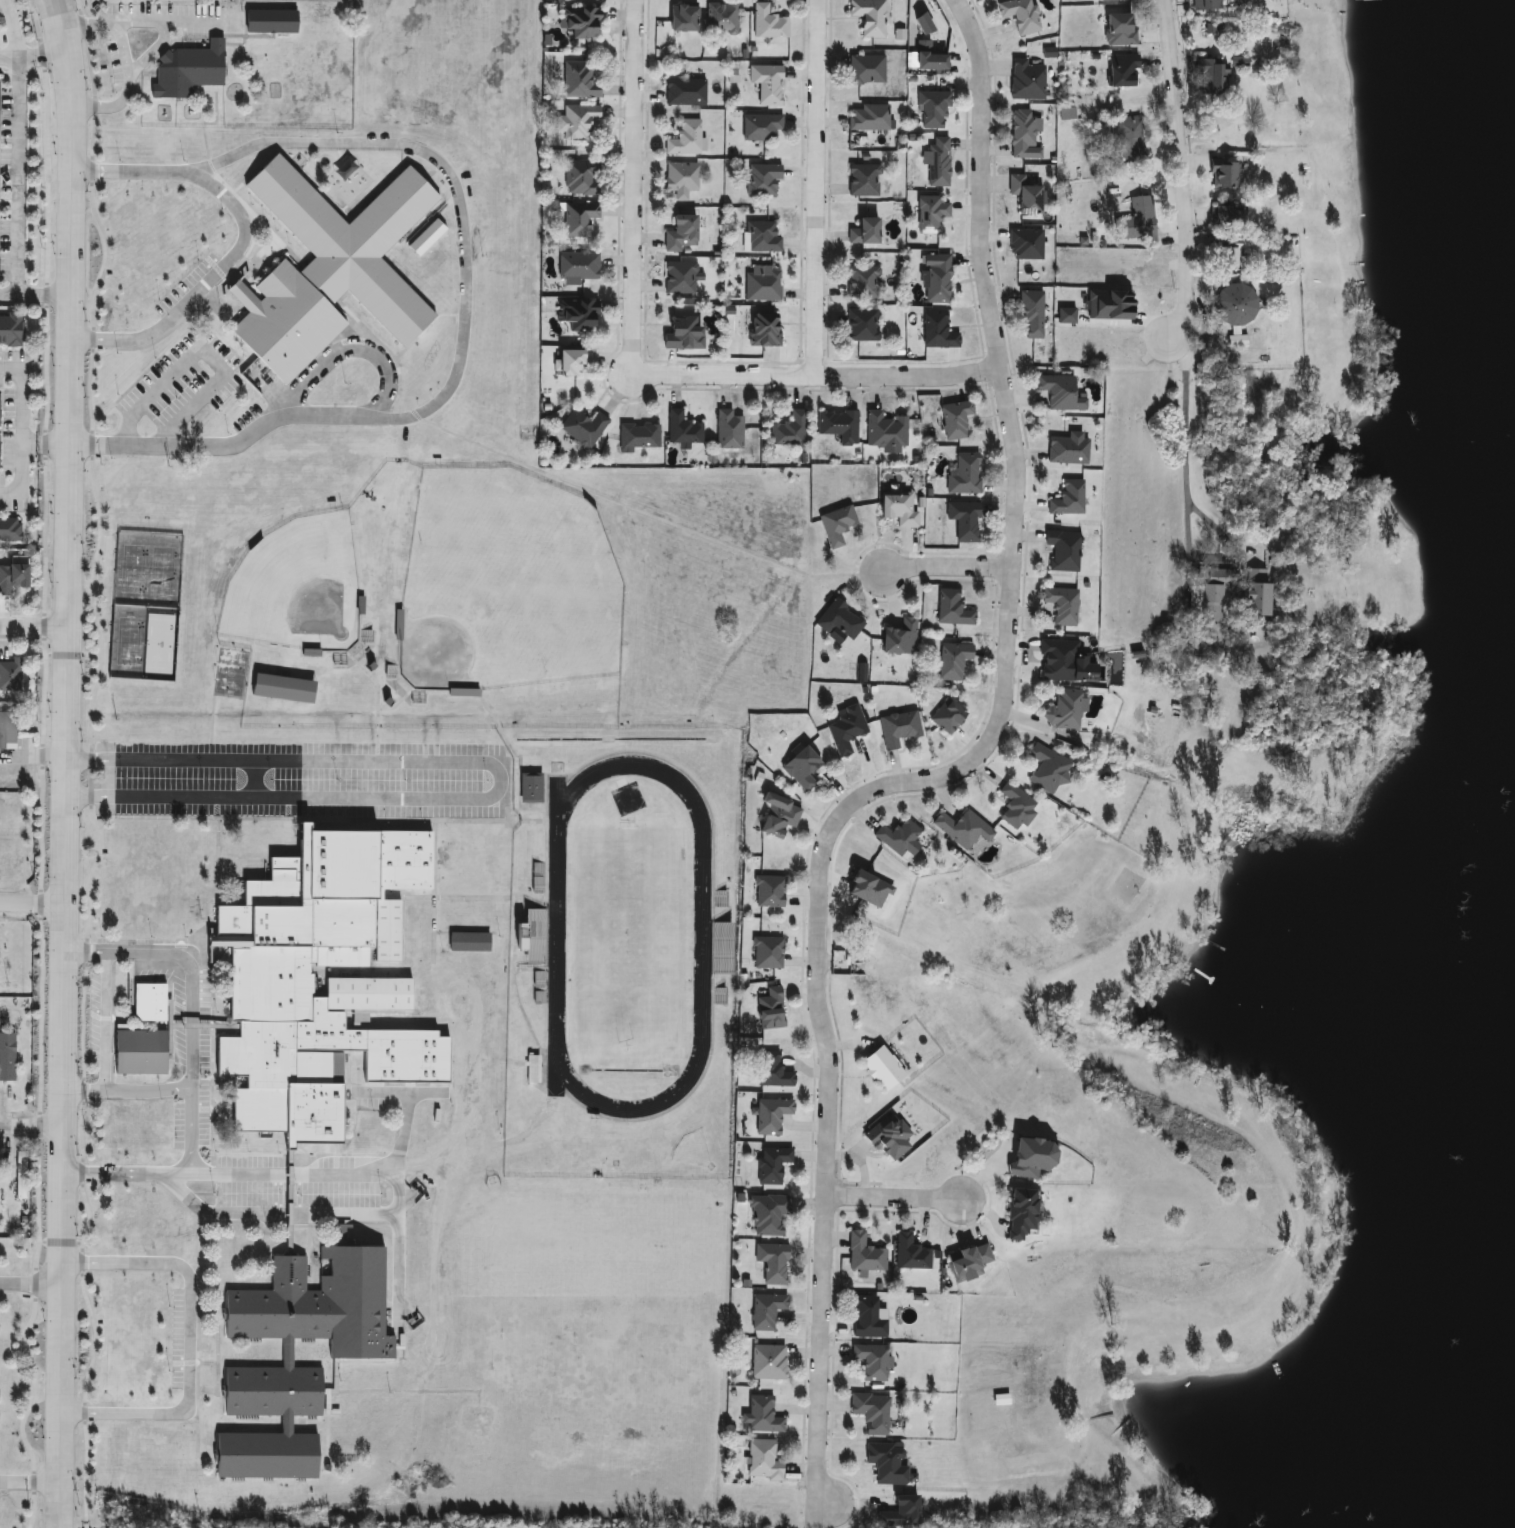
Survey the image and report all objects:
building: (1205, 5)
building: (1020, 15)
building: (681, 17)
building: (868, 17)
building: (721, 19)
building: (268, 21)
building: (579, 23)
building: (767, 23)
road: (139, 26)
road: (11, 30)
building: (1117, 30)
road: (151, 53)
building: (927, 58)
road: (34, 60)
building: (187, 70)
building: (866, 70)
building: (1121, 71)
building: (1211, 77)
building: (578, 80)
building: (1025, 80)
building: (766, 84)
road: (129, 92)
building: (685, 93)
building: (932, 109)
building: (868, 118)
building: (577, 121)
building: (760, 127)
building: (1021, 131)
building: (686, 138)
building: (1128, 138)
road: (339, 153)
building: (937, 162)
road: (1179, 168)
road: (434, 172)
building: (1221, 173)
road: (19, 178)
building: (581, 178)
building: (680, 179)
building: (762, 179)
building: (863, 180)
road: (819, 186)
building: (1023, 195)
building: (1225, 212)
building: (929, 214)
building: (579, 219)
building: (1137, 222)
building: (863, 232)
building: (681, 234)
building: (429, 237)
building: (761, 237)
building: (1024, 245)
building: (1228, 254)
road: (454, 257)
building: (578, 266)
building: (331, 269)
building: (679, 279)
building: (937, 281)
road: (465, 283)
building: (862, 283)
building: (761, 287)
road: (201, 289)
road: (36, 297)
building: (1236, 303)
building: (578, 315)
building: (1031, 315)
building: (861, 326)
building: (10, 330)
building: (763, 330)
building: (936, 331)
building: (682, 334)
road: (203, 349)
road: (350, 351)
building: (567, 362)
road: (9, 367)
road: (634, 369)
building: (1059, 393)
building: (954, 420)
building: (838, 426)
building: (582, 428)
building: (682, 429)
road: (19, 431)
building: (728, 431)
building: (789, 431)
building: (884, 431)
building: (638, 436)
road: (1191, 445)
road: (46, 446)
building: (1068, 449)
building: (964, 475)
road: (10, 494)
building: (1067, 499)
road: (633, 507)
building: (897, 509)
building: (963, 521)
building: (836, 525)
building: (9, 530)
building: (1061, 552)
road: (947, 562)
building: (14, 578)
building: (1247, 594)
park: (447, 598)
building: (1211, 599)
building: (1061, 605)
park: (145, 606)
building: (951, 609)
building: (838, 620)
road: (35, 633)
building: (898, 638)
building: (952, 661)
building: (1057, 661)
park: (233, 673)
building: (12, 675)
building: (280, 689)
building: (1062, 710)
building: (947, 718)
building: (898, 729)
building: (6, 731)
building: (845, 731)
road: (68, 763)
building: (800, 769)
building: (1046, 769)
road: (946, 772)
parking lot: (311, 781)
road: (504, 781)
building: (530, 789)
building: (1014, 807)
building: (777, 816)
building: (962, 829)
building: (896, 837)
building: (769, 892)
road: (33, 910)
building: (470, 917)
building: (467, 943)
building: (725, 949)
building: (767, 953)
building: (267, 990)
building: (147, 1003)
building: (436, 1004)
building: (769, 1010)
road: (106, 1026)
building: (137, 1053)
building: (6, 1057)
road: (193, 1067)
building: (532, 1069)
building: (880, 1069)
building: (772, 1072)
road: (128, 1095)
building: (770, 1116)
road: (32, 1128)
building: (420, 1135)
building: (443, 1137)
building: (887, 1137)
road: (469, 1145)
building: (771, 1166)
road: (241, 1175)
building: (20, 1177)
road: (292, 1177)
road: (400, 1191)
road: (897, 1194)
building: (1019, 1214)
building: (768, 1215)
building: (910, 1254)
building: (864, 1255)
building: (771, 1263)
building: (967, 1263)
road: (31, 1284)
building: (765, 1311)
building: (867, 1319)
road: (190, 1343)
building: (305, 1360)
building: (871, 1362)
building: (767, 1363)
building: (871, 1412)
building: (761, 1416)
building: (762, 1460)
building: (887, 1464)
road: (30, 1483)
building: (900, 1513)

